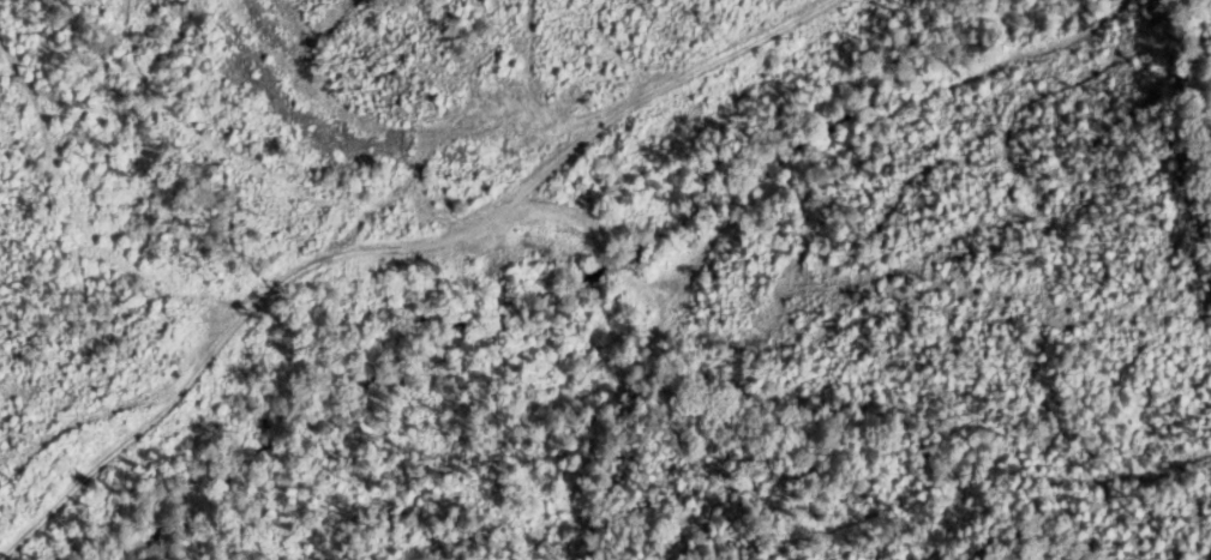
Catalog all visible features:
road: (558, 284)

